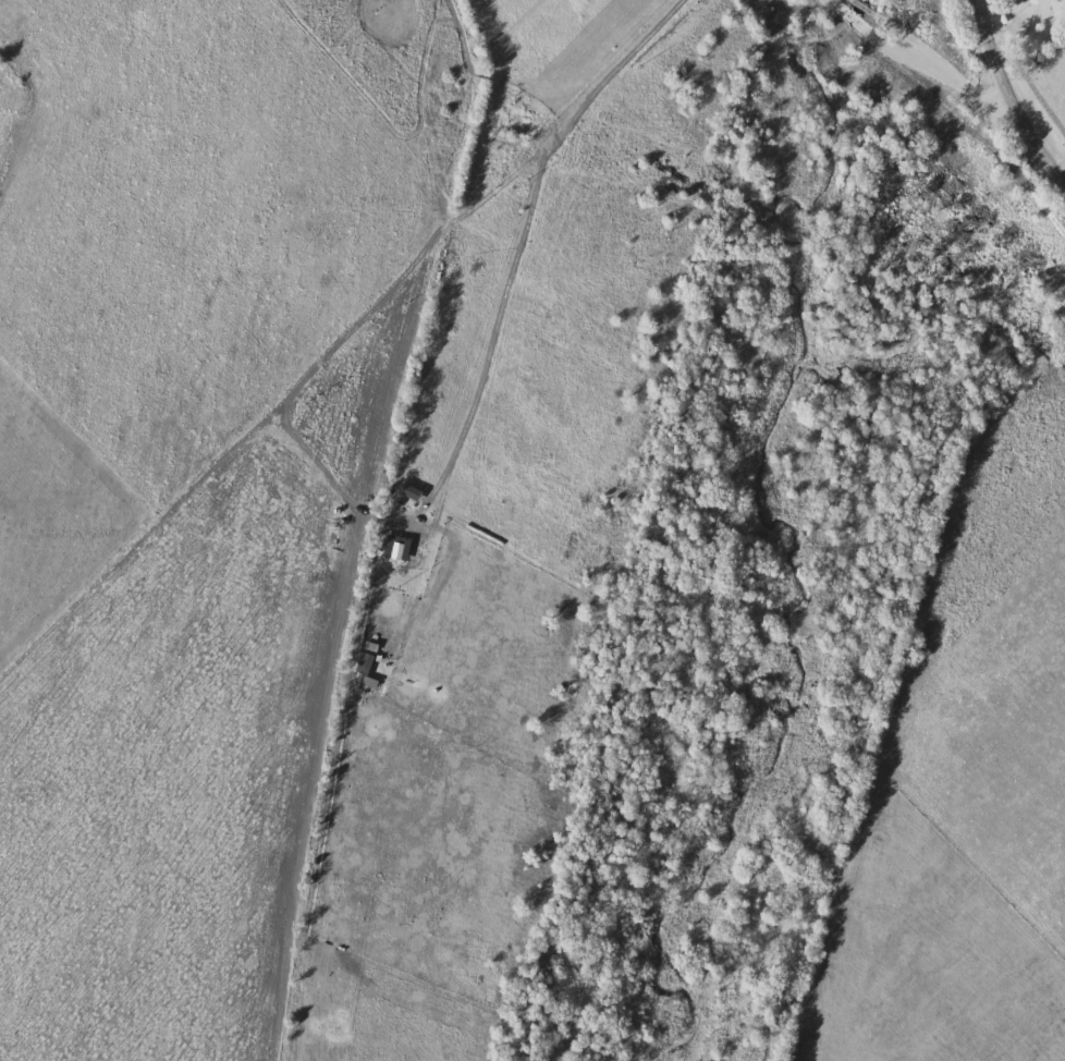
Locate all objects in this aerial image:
road: (934, 56)
road: (1013, 90)
road: (1052, 134)
road: (521, 243)

